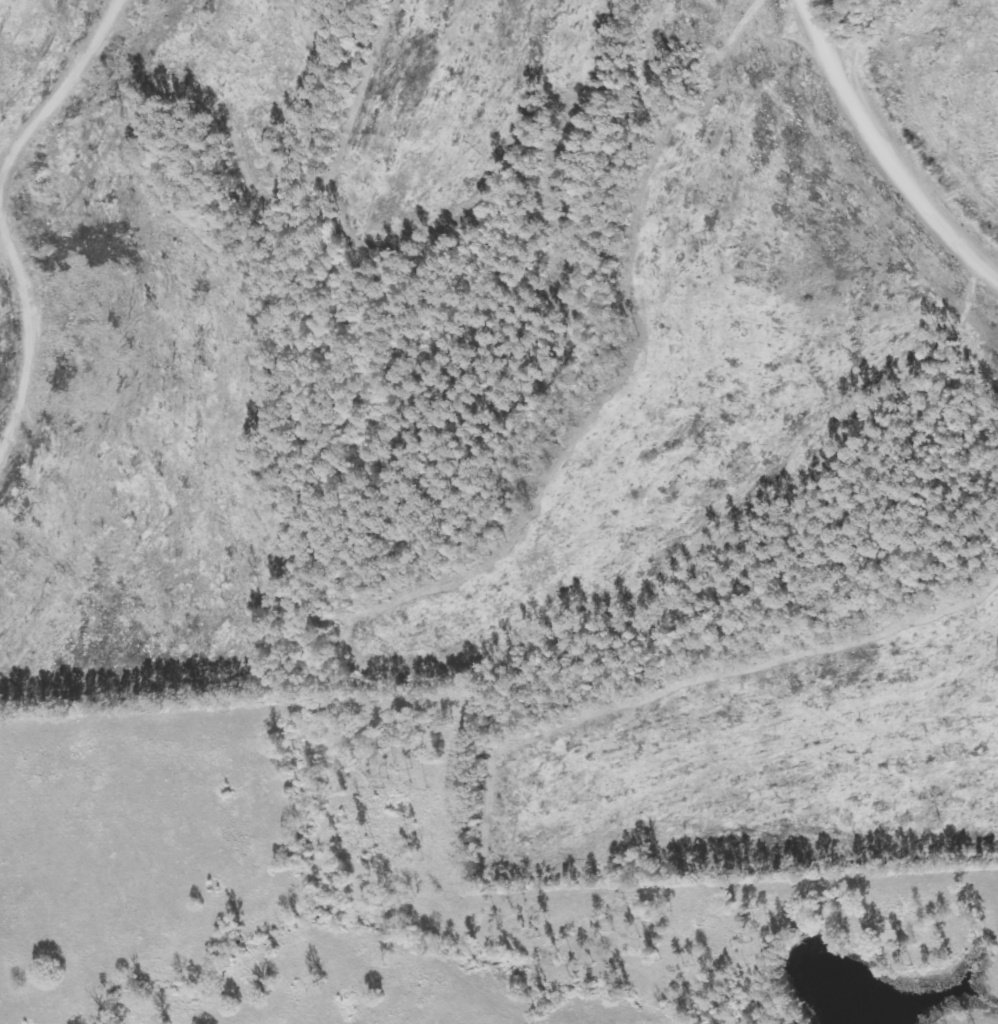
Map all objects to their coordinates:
road: (892, 151)
road: (65, 214)
road: (985, 251)

